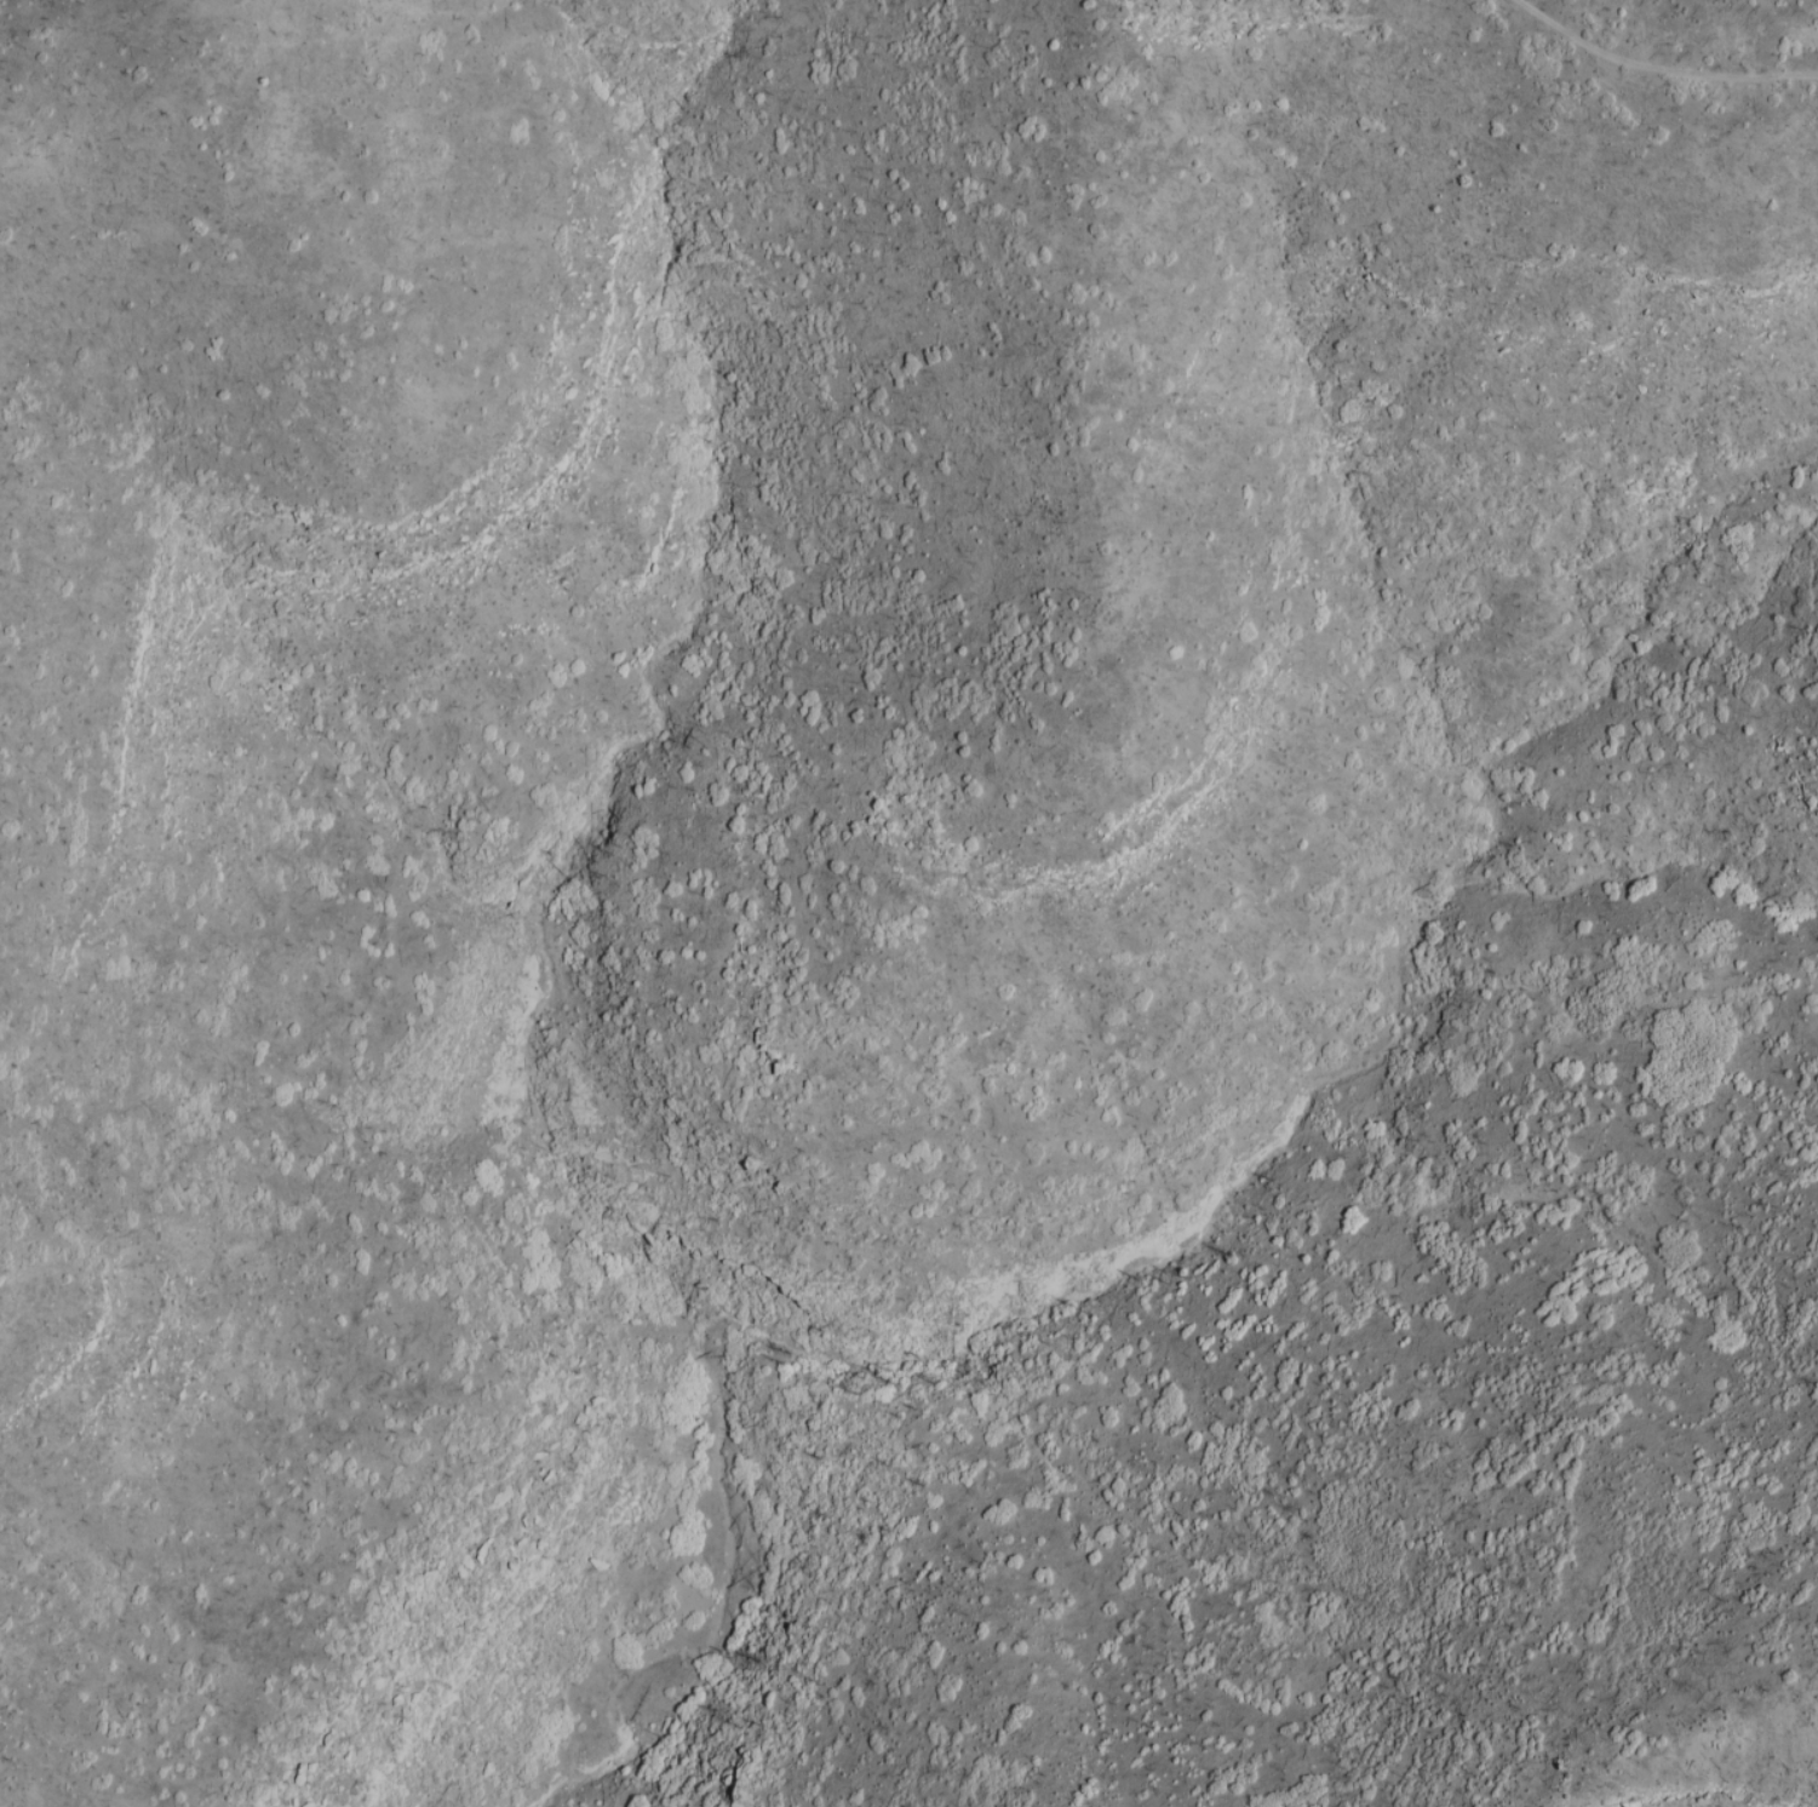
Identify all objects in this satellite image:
road: (1665, 67)

